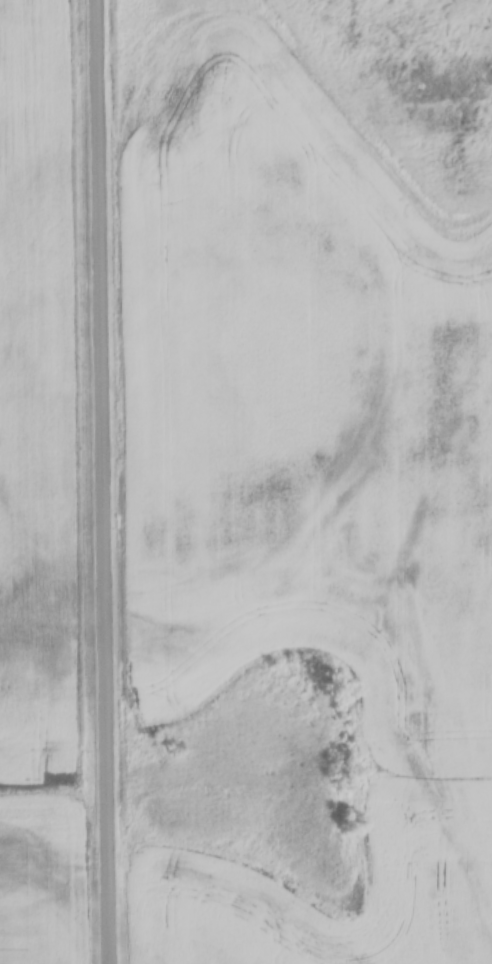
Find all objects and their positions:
crop: (296, 479)
road: (102, 482)
crop: (42, 483)

